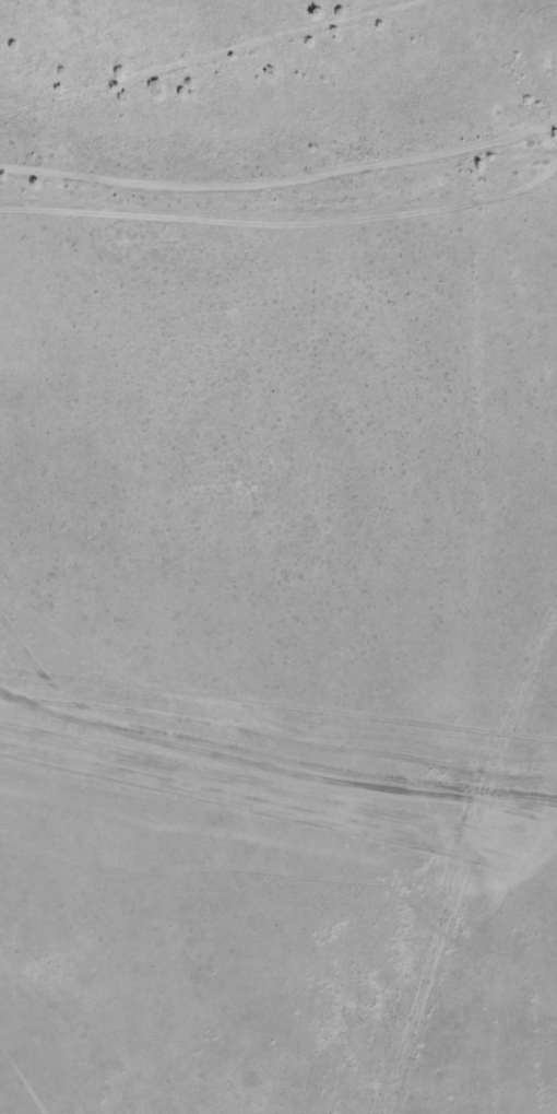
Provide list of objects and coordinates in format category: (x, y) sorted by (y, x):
road: (281, 176)

